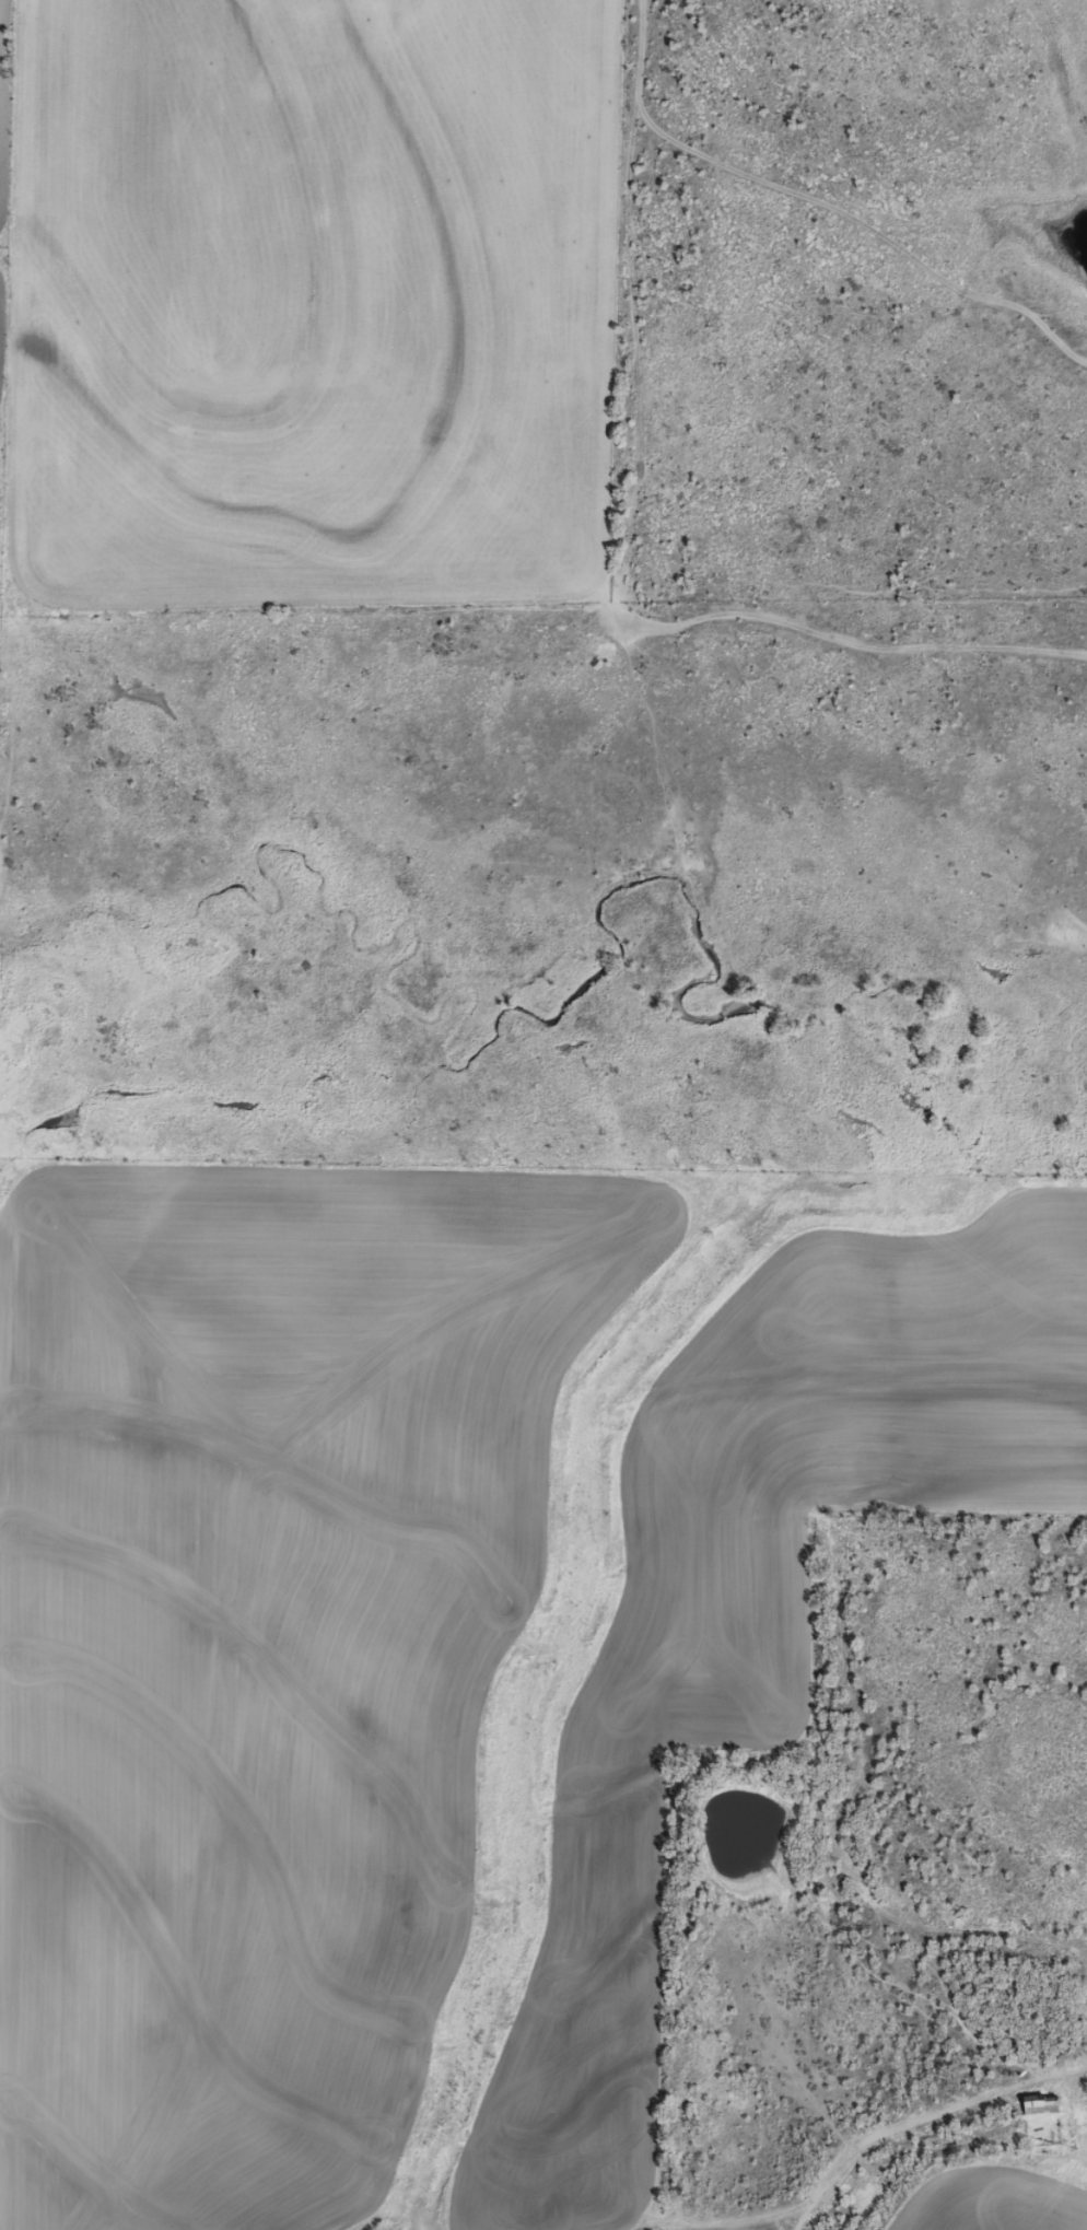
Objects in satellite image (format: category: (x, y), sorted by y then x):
building: (1041, 2106)

